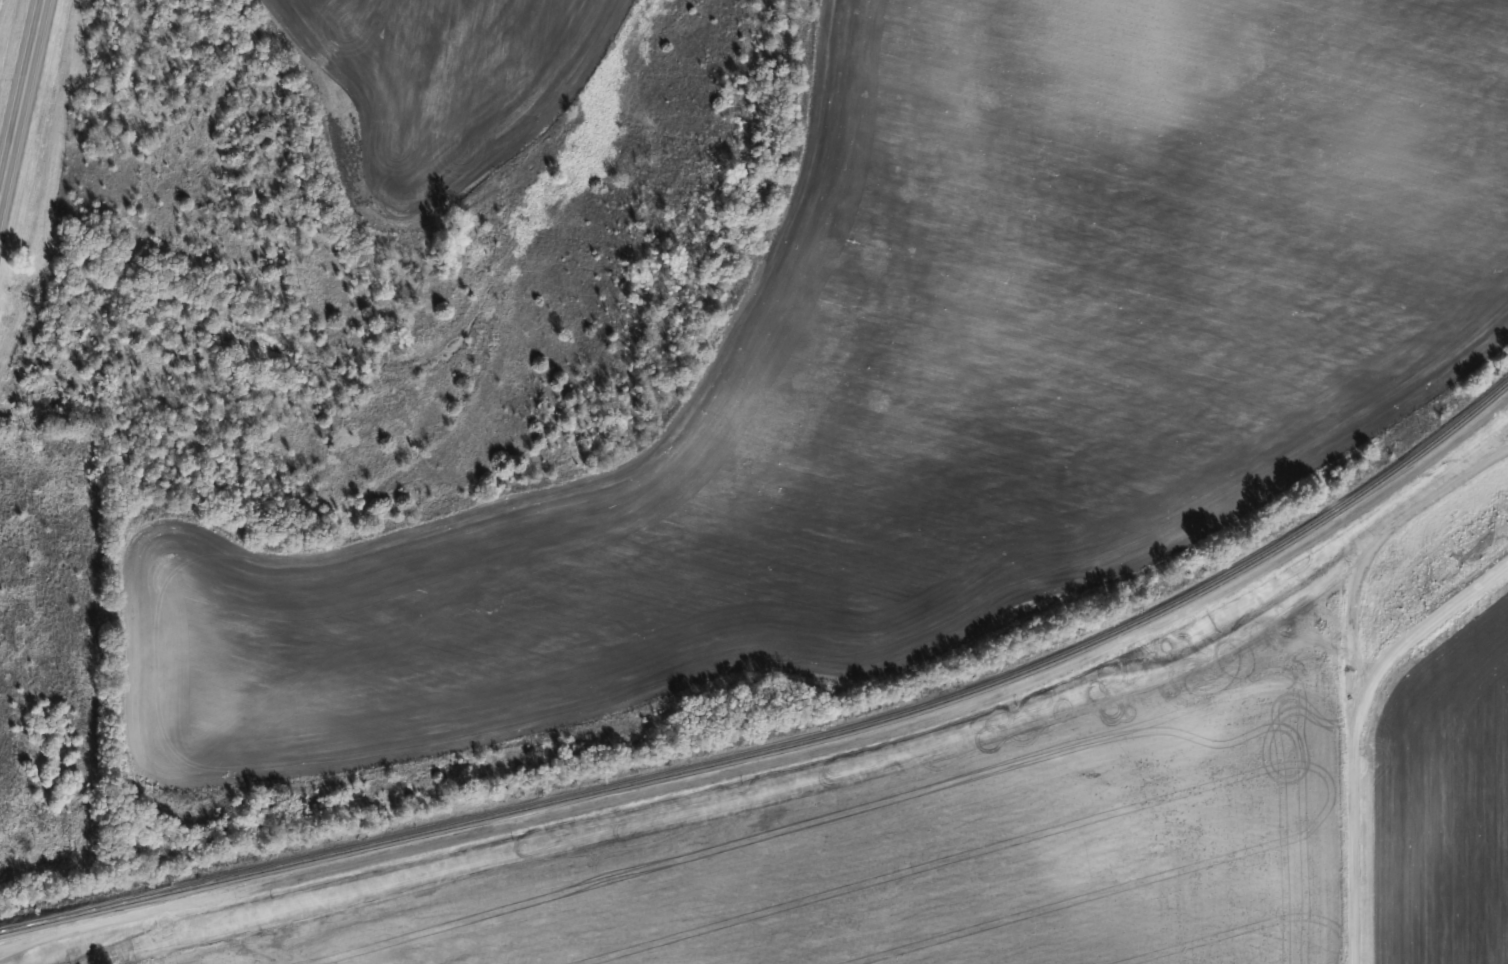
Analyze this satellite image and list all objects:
road: (21, 95)
road: (1351, 728)
railway: (789, 744)

